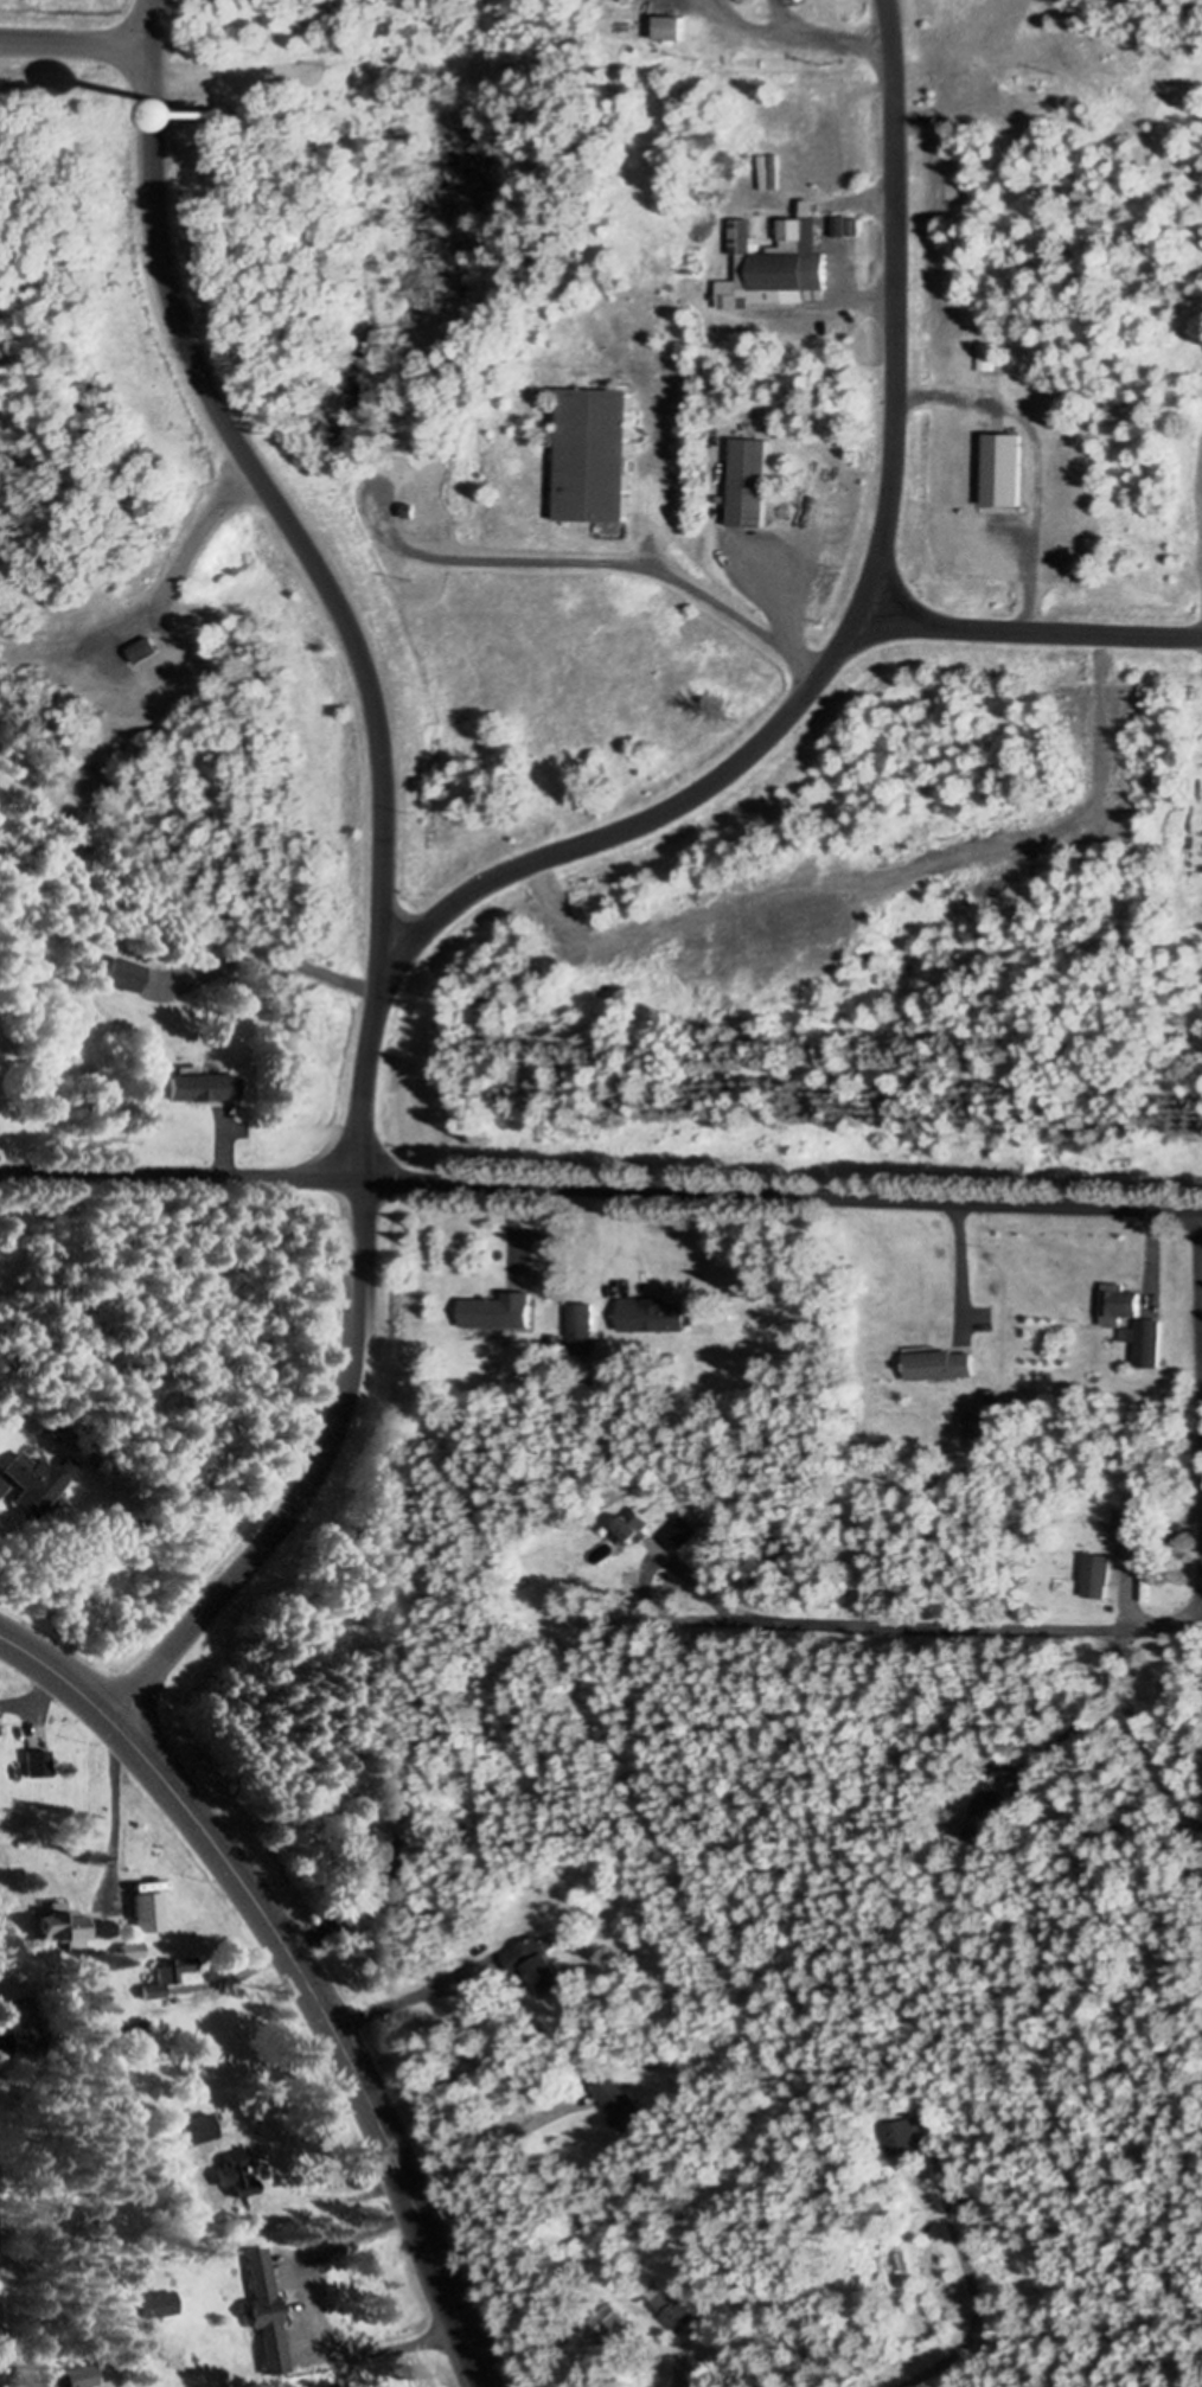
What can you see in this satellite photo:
road: (746, 27)
road: (825, 36)
road: (76, 41)
water tower: (230, 116)
road: (894, 309)
road: (1036, 454)
road: (263, 482)
road: (656, 517)
road: (197, 527)
road: (607, 563)
road: (778, 609)
road: (1035, 631)
road: (645, 818)
road: (276, 956)
road: (360, 1068)
road: (179, 1170)
road: (779, 1192)
road: (511, 1214)
road: (619, 1220)
road: (1150, 1249)
road: (959, 1260)
road: (313, 1477)
road: (678, 1573)
road: (1201, 1594)
road: (1123, 1623)
road: (1123, 1632)
road: (32, 1696)
road: (1153, 1762)
road: (115, 1799)
road: (289, 1945)
road: (300, 1970)
road: (388, 2001)
road: (488, 2149)
road: (300, 2187)
road: (972, 2305)
road: (315, 2315)
road: (1, 2363)
road: (684, 2379)
road: (44, 2386)

